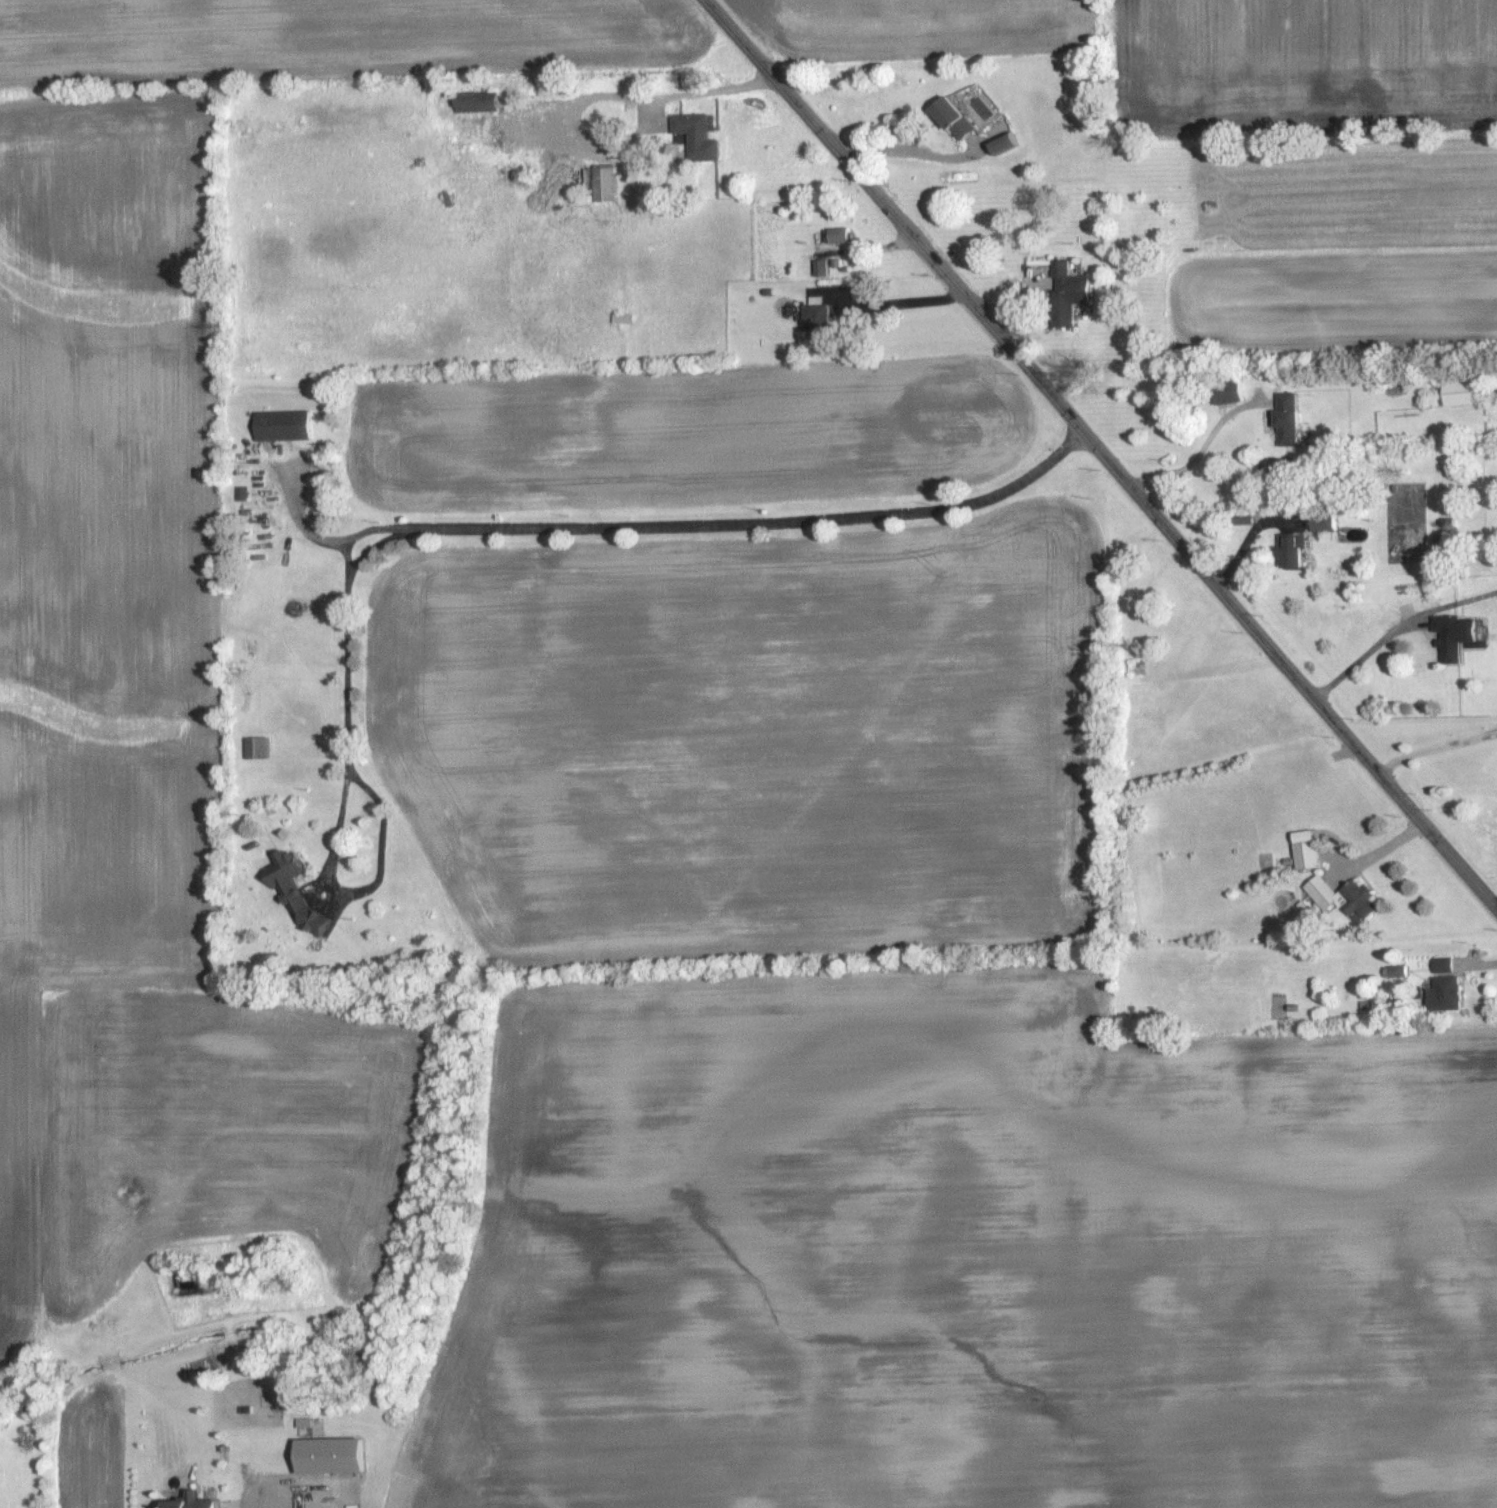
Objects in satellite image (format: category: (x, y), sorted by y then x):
road: (606, 96)
building: (481, 103)
building: (956, 118)
building: (699, 136)
building: (1010, 143)
road: (907, 150)
building: (603, 184)
building: (840, 235)
building: (822, 268)
road: (902, 301)
building: (819, 324)
building: (1463, 393)
building: (1229, 394)
building: (1289, 421)
building: (284, 426)
road: (1103, 452)
road: (1199, 452)
building: (243, 495)
building: (1328, 523)
road: (632, 527)
road: (1247, 538)
building: (1295, 550)
building: (1456, 636)
road: (1365, 653)
building: (258, 747)
road: (1436, 749)
building: (1308, 852)
road: (340, 890)
building: (298, 891)
building: (1345, 896)
building: (1444, 964)
building: (1396, 971)
building: (1445, 992)
building: (336, 1455)
building: (193, 1502)

